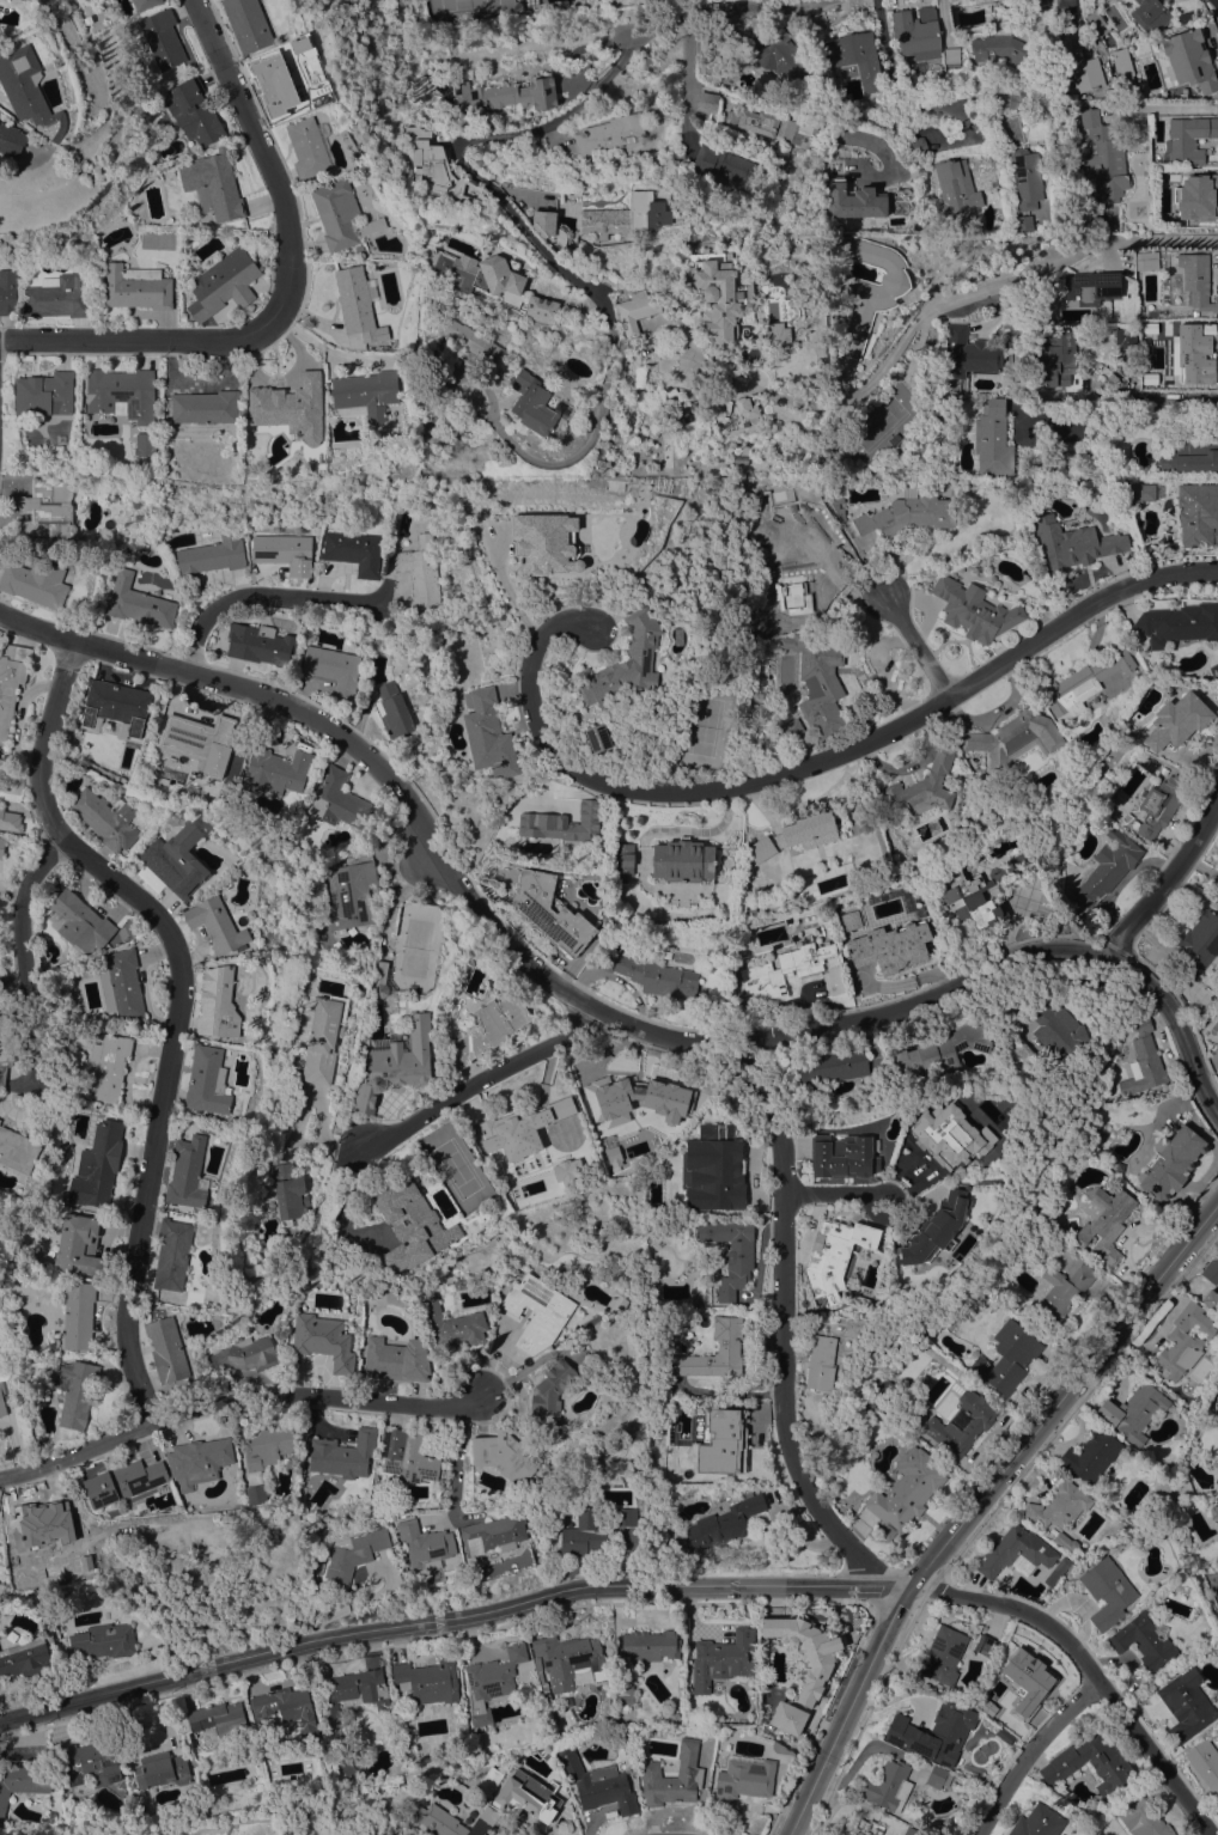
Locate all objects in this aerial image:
building: (1037, 4)
building: (145, 5)
building: (1062, 6)
building: (1007, 7)
building: (1149, 14)
building: (246, 24)
road: (621, 31)
building: (916, 33)
building: (162, 39)
building: (1001, 49)
building: (772, 53)
building: (952, 56)
building: (710, 57)
building: (855, 57)
building: (1189, 59)
building: (1082, 66)
building: (1123, 68)
road: (894, 74)
building: (270, 85)
road: (686, 89)
building: (30, 92)
building: (506, 96)
building: (1015, 100)
building: (707, 102)
building: (194, 111)
building: (774, 126)
building: (610, 135)
building: (6, 138)
building: (1187, 141)
building: (916, 147)
building: (307, 148)
building: (1103, 158)
building: (723, 164)
building: (436, 166)
building: (1025, 179)
building: (213, 184)
building: (955, 187)
building: (1194, 195)
building: (851, 201)
building: (340, 214)
building: (626, 217)
building: (543, 221)
building: (1023, 224)
building: (836, 228)
building: (359, 249)
building: (1149, 260)
building: (481, 275)
building: (1196, 280)
building: (223, 284)
building: (136, 287)
road: (591, 287)
building: (1091, 287)
building: (871, 291)
building: (7, 292)
road: (292, 294)
building: (59, 295)
road: (952, 295)
building: (715, 297)
building: (358, 305)
building: (541, 309)
building: (1104, 310)
building: (635, 311)
building: (183, 315)
building: (1194, 315)
building: (1128, 317)
building: (543, 329)
building: (777, 334)
building: (1123, 340)
building: (473, 341)
building: (1184, 346)
building: (969, 353)
building: (1056, 360)
building: (1144, 377)
building: (1193, 380)
building: (44, 394)
building: (122, 394)
building: (365, 395)
road: (1129, 398)
building: (532, 403)
building: (205, 407)
building: (290, 407)
building: (748, 413)
building: (713, 414)
building: (993, 439)
building: (144, 444)
building: (1190, 456)
building: (598, 465)
building: (1141, 493)
building: (834, 499)
building: (47, 508)
building: (906, 514)
building: (1198, 514)
building: (90, 536)
building: (544, 543)
building: (1072, 543)
building: (353, 551)
building: (284, 553)
building: (211, 556)
building: (797, 559)
building: (419, 571)
building: (35, 583)
road: (257, 596)
building: (138, 603)
building: (974, 610)
building: (1179, 623)
building: (260, 645)
road: (915, 646)
building: (626, 664)
building: (331, 667)
building: (11, 681)
building: (821, 684)
building: (1080, 684)
building: (116, 705)
building: (392, 709)
building: (1177, 720)
building: (791, 731)
building: (487, 733)
building: (597, 738)
building: (202, 739)
building: (1013, 739)
building: (1147, 764)
road: (809, 766)
building: (1162, 769)
building: (0, 770)
building: (275, 772)
building: (0, 775)
road: (392, 791)
building: (916, 791)
building: (337, 801)
building: (1161, 804)
building: (975, 813)
building: (105, 818)
building: (10, 819)
building: (564, 825)
building: (796, 835)
building: (1, 846)
building: (622, 859)
building: (176, 860)
building: (682, 861)
building: (1107, 867)
road: (1165, 886)
building: (351, 894)
building: (875, 901)
building: (1217, 902)
building: (973, 903)
building: (549, 913)
building: (851, 921)
building: (79, 925)
building: (217, 925)
building: (1196, 945)
building: (889, 947)
road: (18, 952)
road: (1009, 963)
building: (784, 970)
building: (651, 975)
building: (379, 980)
building: (835, 980)
building: (121, 984)
building: (359, 990)
building: (218, 1004)
road: (177, 1005)
building: (489, 1026)
building: (1055, 1029)
building: (323, 1040)
building: (7, 1044)
building: (1217, 1044)
building: (944, 1049)
building: (1143, 1060)
building: (394, 1065)
building: (832, 1066)
building: (108, 1067)
road: (481, 1080)
building: (207, 1081)
building: (635, 1096)
building: (106, 1108)
building: (520, 1126)
building: (948, 1140)
building: (726, 1150)
building: (17, 1151)
building: (844, 1156)
building: (1170, 1163)
building: (97, 1165)
building: (566, 1170)
building: (187, 1173)
building: (701, 1175)
building: (287, 1193)
road: (835, 1194)
building: (937, 1223)
building: (1104, 1223)
building: (410, 1226)
building: (79, 1246)
building: (172, 1254)
building: (730, 1255)
building: (833, 1256)
building: (1211, 1269)
building: (1061, 1294)
building: (872, 1309)
building: (537, 1312)
building: (77, 1315)
road: (781, 1323)
building: (447, 1325)
building: (323, 1340)
building: (1183, 1342)
building: (727, 1346)
building: (166, 1349)
building: (2, 1352)
building: (243, 1355)
building: (1007, 1357)
building: (396, 1359)
building: (820, 1362)
building: (882, 1390)
building: (75, 1391)
building: (552, 1395)
building: (1, 1401)
road: (233, 1402)
building: (1133, 1412)
building: (979, 1422)
building: (651, 1434)
building: (724, 1438)
building: (269, 1445)
building: (343, 1455)
building: (1091, 1455)
building: (407, 1456)
building: (504, 1456)
building: (197, 1461)
road: (456, 1464)
building: (123, 1482)
building: (1184, 1487)
building: (906, 1490)
building: (1158, 1493)
building: (256, 1494)
building: (378, 1495)
road: (976, 1505)
building: (1059, 1505)
building: (1213, 1511)
building: (723, 1523)
building: (41, 1526)
building: (593, 1529)
building: (625, 1530)
building: (122, 1532)
building: (493, 1534)
building: (207, 1540)
building: (1217, 1540)
building: (1066, 1542)
building: (670, 1543)
building: (424, 1544)
building: (1015, 1550)
building: (353, 1554)
building: (1058, 1572)
building: (1107, 1592)
road: (353, 1604)
road: (450, 1614)
building: (1144, 1640)
building: (103, 1641)
building: (651, 1645)
building: (985, 1645)
building: (804, 1652)
building: (943, 1654)
building: (721, 1658)
building: (24, 1659)
building: (570, 1660)
building: (540, 1670)
road: (1088, 1670)
building: (1027, 1678)
building: (427, 1681)
building: (491, 1683)
building: (537, 1688)
building: (353, 1690)
building: (623, 1694)
building: (1186, 1705)
building: (285, 1706)
building: (550, 1706)
building: (552, 1717)
building: (218, 1718)
building: (672, 1718)
building: (787, 1718)
building: (621, 1732)
building: (933, 1733)
building: (1004, 1736)
building: (780, 1748)
building: (336, 1752)
road: (1036, 1755)
building: (91, 1763)
building: (1205, 1763)
building: (1110, 1766)
building: (160, 1769)
building: (349, 1770)
building: (672, 1776)
building: (938, 1776)
building: (744, 1779)
building: (22, 1782)
building: (491, 1782)
building: (597, 1784)
building: (54, 1785)
building: (888, 1786)
building: (529, 1796)
building: (37, 1800)
building: (233, 1819)
building: (451, 1819)
building: (1143, 1819)
building: (1037, 1822)
building: (866, 1827)
building: (911, 1831)

